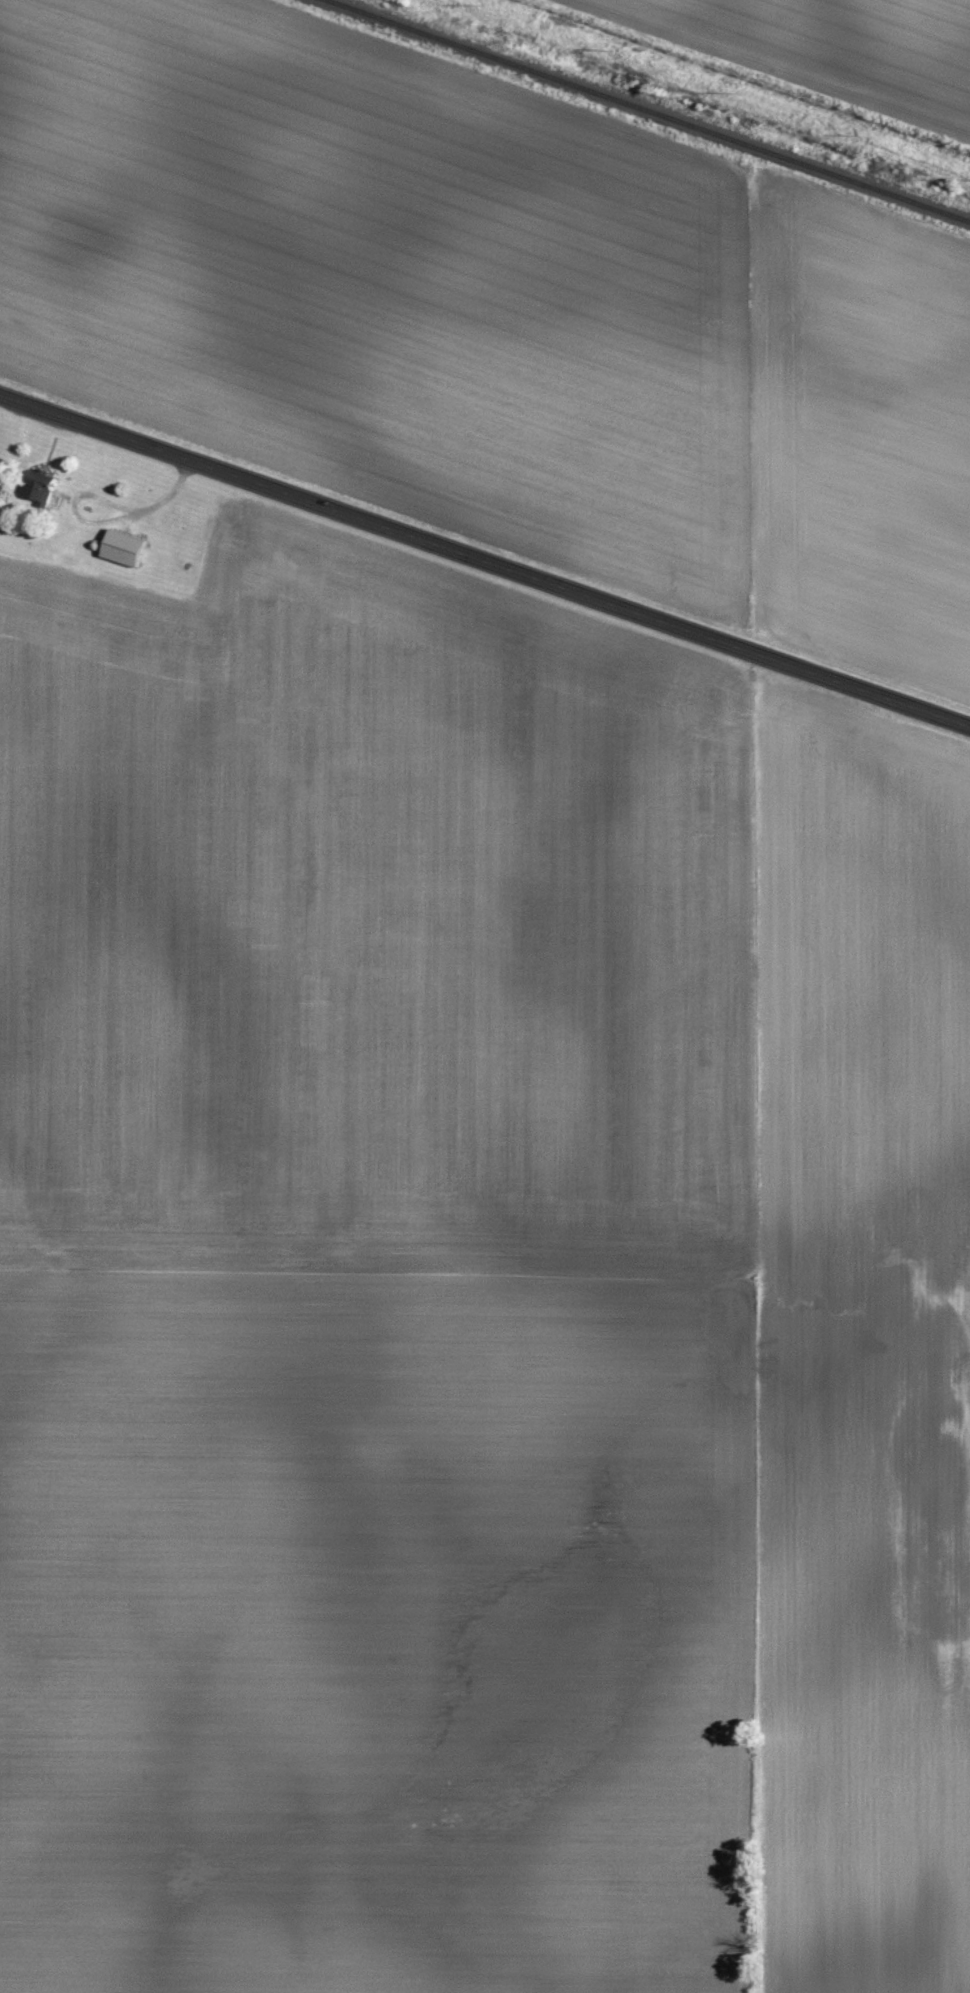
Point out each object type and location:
railway: (650, 110)
building: (126, 548)
road: (483, 566)

